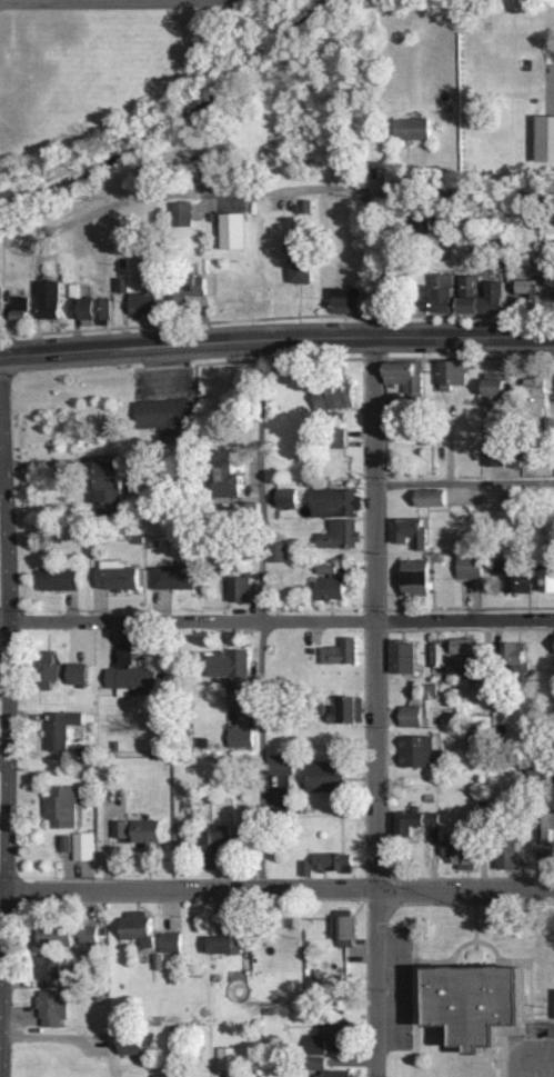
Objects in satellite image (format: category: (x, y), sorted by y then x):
building: (414, 129)
building: (547, 139)
road: (302, 199)
building: (234, 231)
road: (372, 265)
building: (301, 266)
building: (446, 281)
building: (472, 290)
building: (538, 292)
building: (50, 300)
building: (349, 300)
building: (449, 301)
building: (145, 302)
building: (19, 308)
building: (98, 310)
road: (276, 338)
building: (455, 373)
building: (405, 377)
building: (498, 396)
building: (336, 399)
building: (168, 416)
building: (496, 453)
road: (48, 462)
road: (2, 478)
building: (238, 479)
road: (463, 481)
building: (288, 498)
building: (433, 500)
building: (335, 502)
building: (411, 532)
building: (342, 535)
building: (283, 554)
building: (471, 566)
building: (118, 576)
building: (174, 577)
building: (419, 578)
building: (516, 578)
building: (61, 579)
building: (550, 581)
building: (332, 588)
building: (239, 589)
road: (258, 615)
road: (4, 618)
road: (281, 620)
building: (471, 647)
building: (341, 652)
building: (515, 654)
building: (443, 656)
building: (404, 658)
building: (232, 670)
building: (51, 672)
building: (79, 674)
building: (131, 680)
road: (375, 705)
building: (353, 710)
building: (412, 716)
building: (61, 729)
building: (241, 737)
road: (7, 745)
building: (417, 751)
building: (283, 764)
building: (330, 777)
building: (62, 806)
building: (421, 824)
building: (141, 830)
building: (249, 832)
building: (545, 836)
building: (66, 842)
building: (84, 845)
building: (219, 847)
building: (465, 850)
building: (511, 858)
building: (326, 864)
road: (276, 889)
building: (346, 927)
building: (141, 929)
building: (70, 934)
building: (231, 937)
building: (171, 941)
building: (159, 961)
building: (50, 966)
building: (553, 999)
building: (486, 1000)
building: (53, 1008)
building: (328, 1036)
building: (137, 1049)
building: (228, 1058)
building: (331, 1074)

